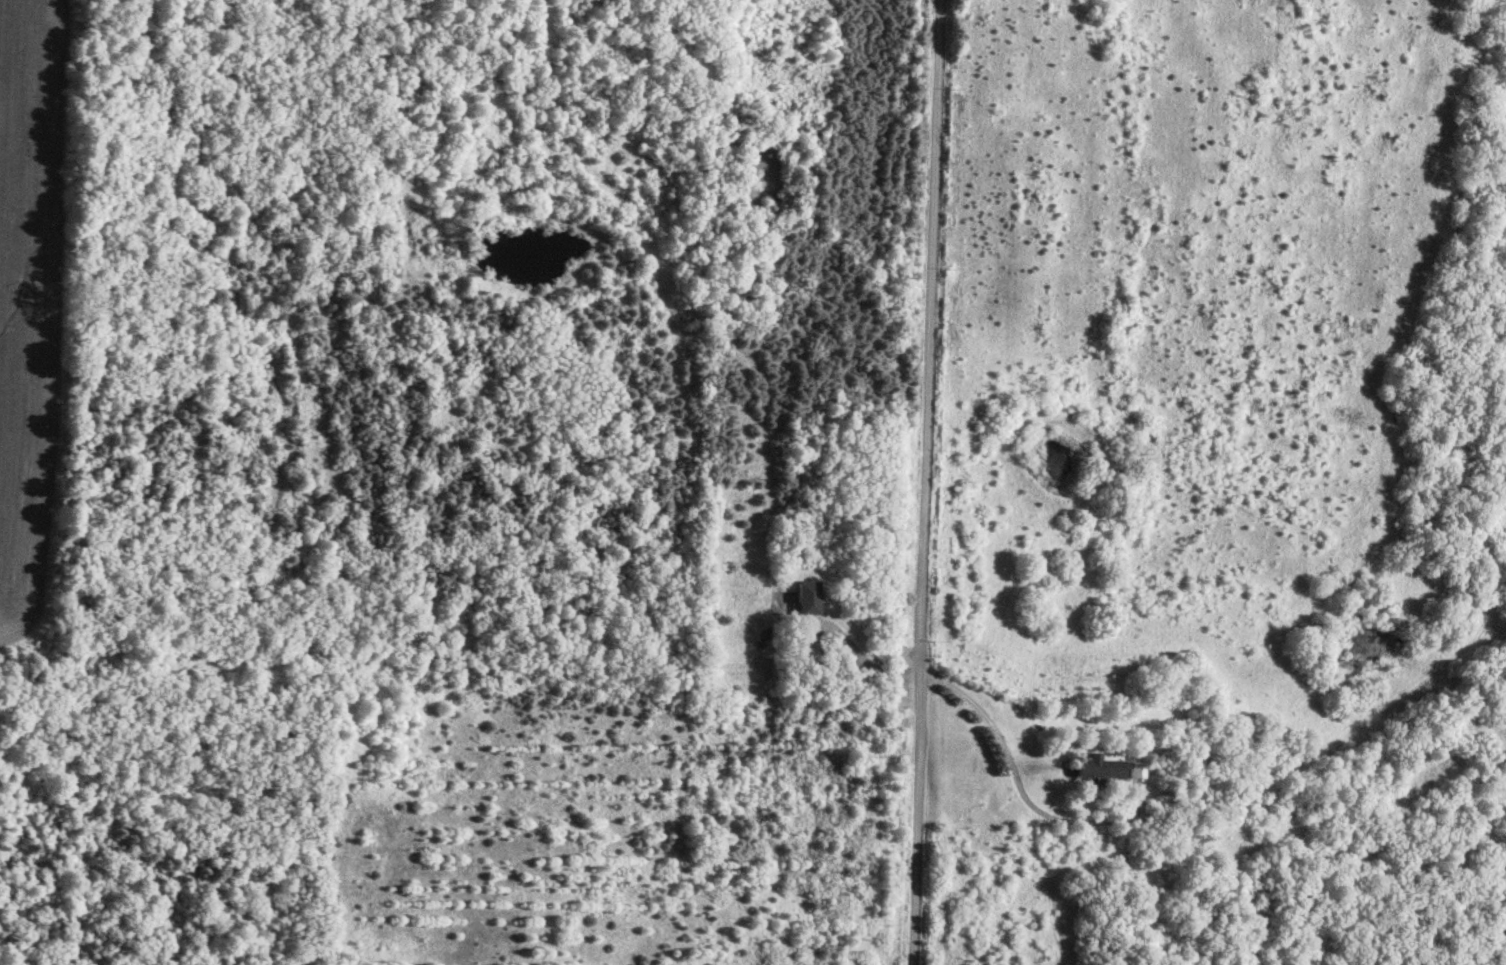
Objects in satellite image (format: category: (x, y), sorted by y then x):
road: (926, 482)
building: (802, 597)
building: (802, 651)
road: (864, 665)
road: (1006, 758)
building: (1105, 769)

